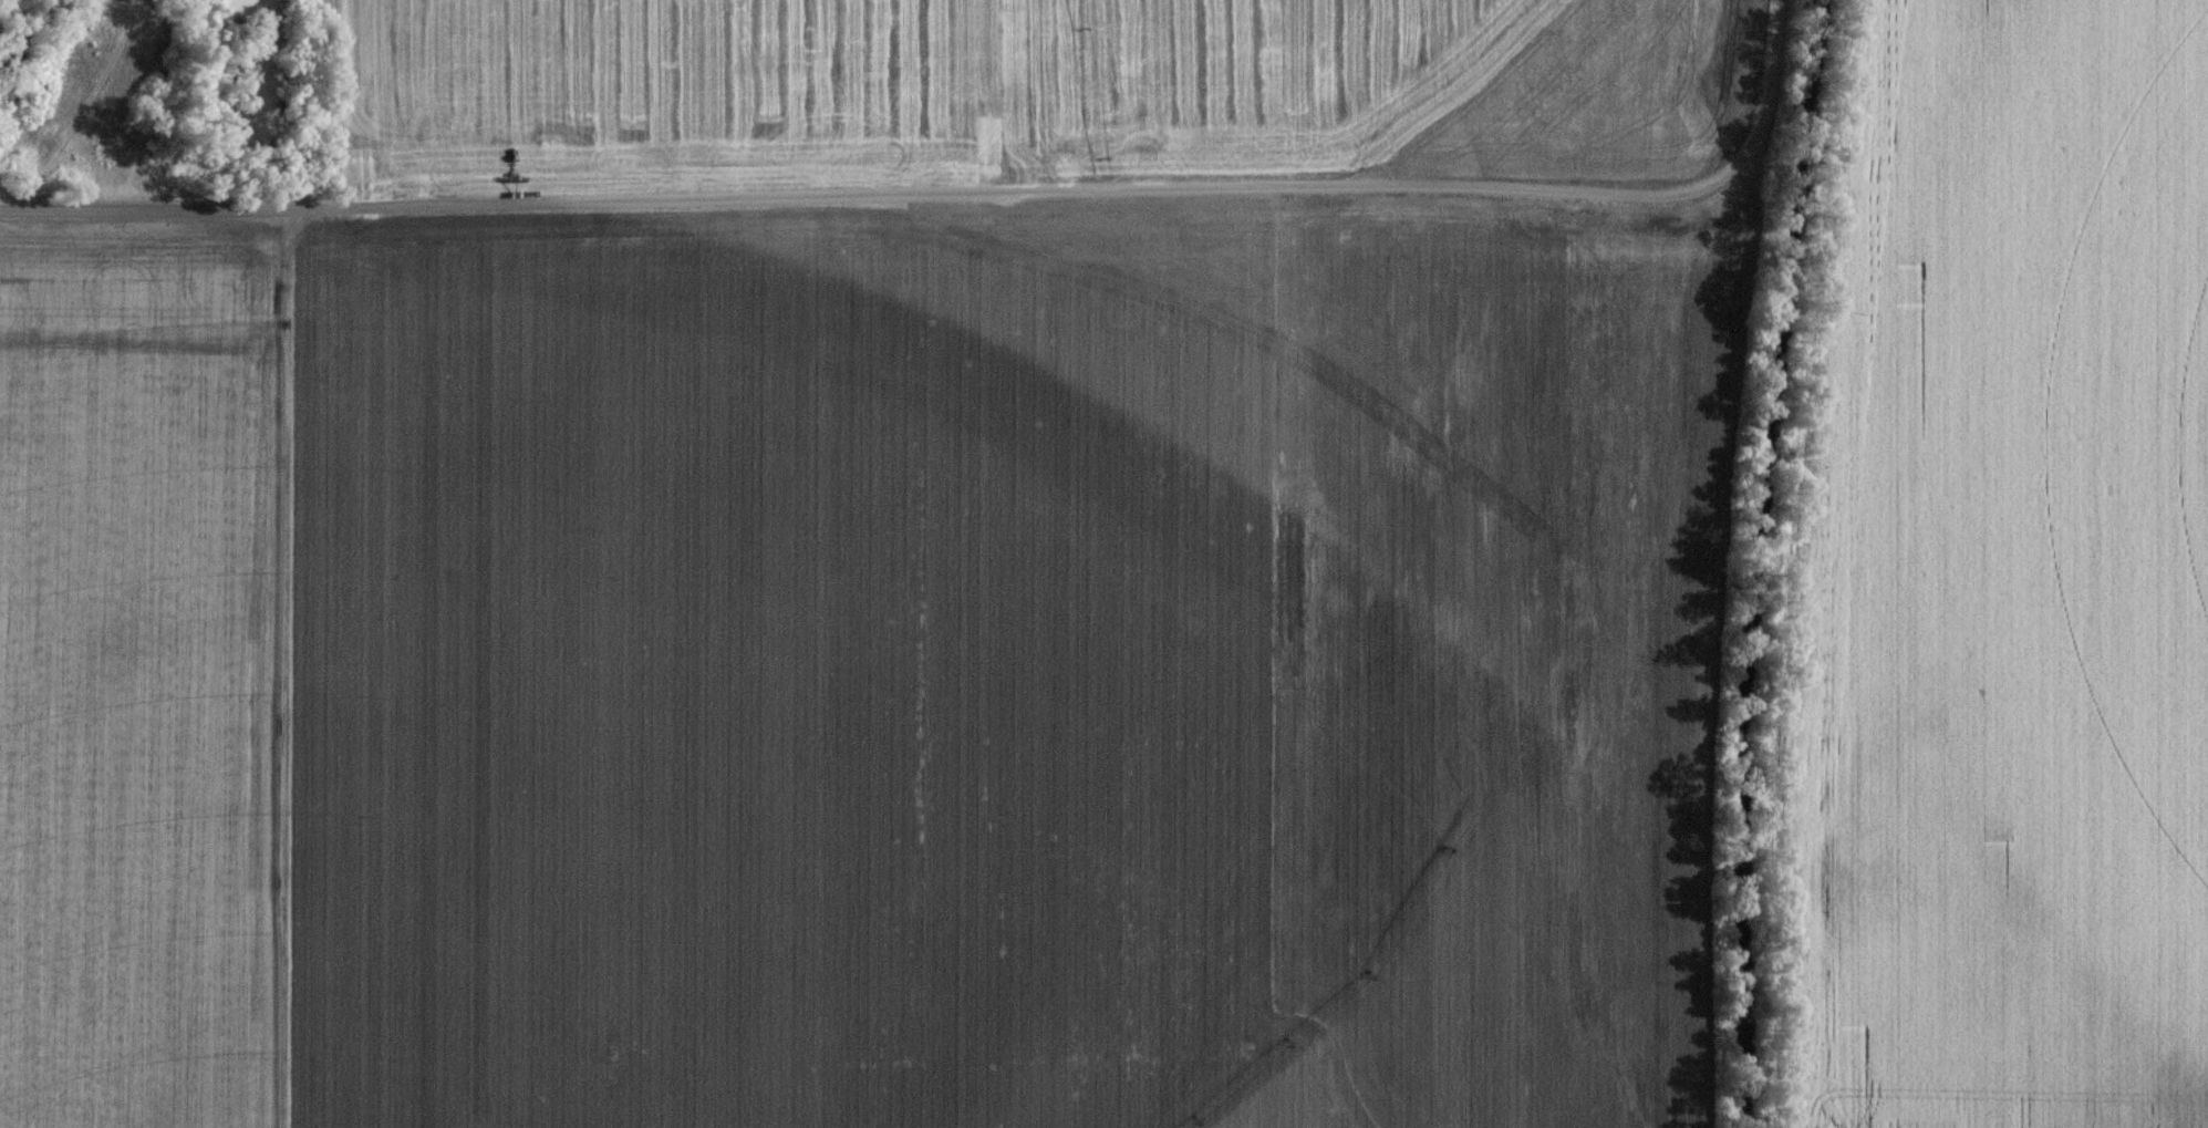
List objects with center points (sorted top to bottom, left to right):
road: (965, 199)

